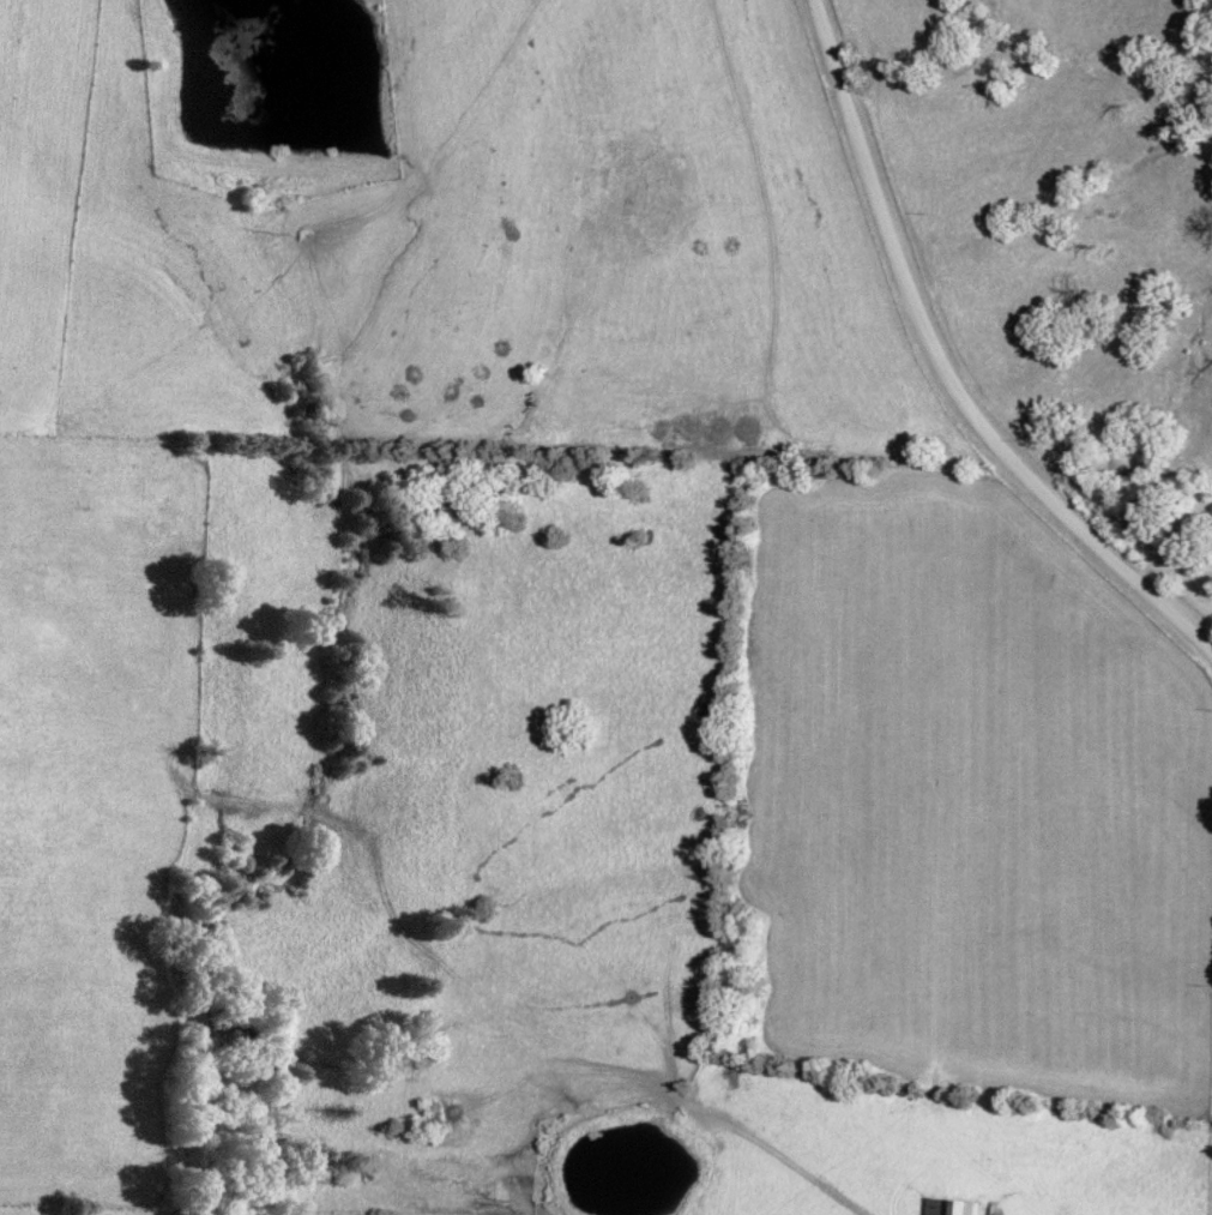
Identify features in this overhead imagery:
road: (952, 363)
building: (952, 1207)

